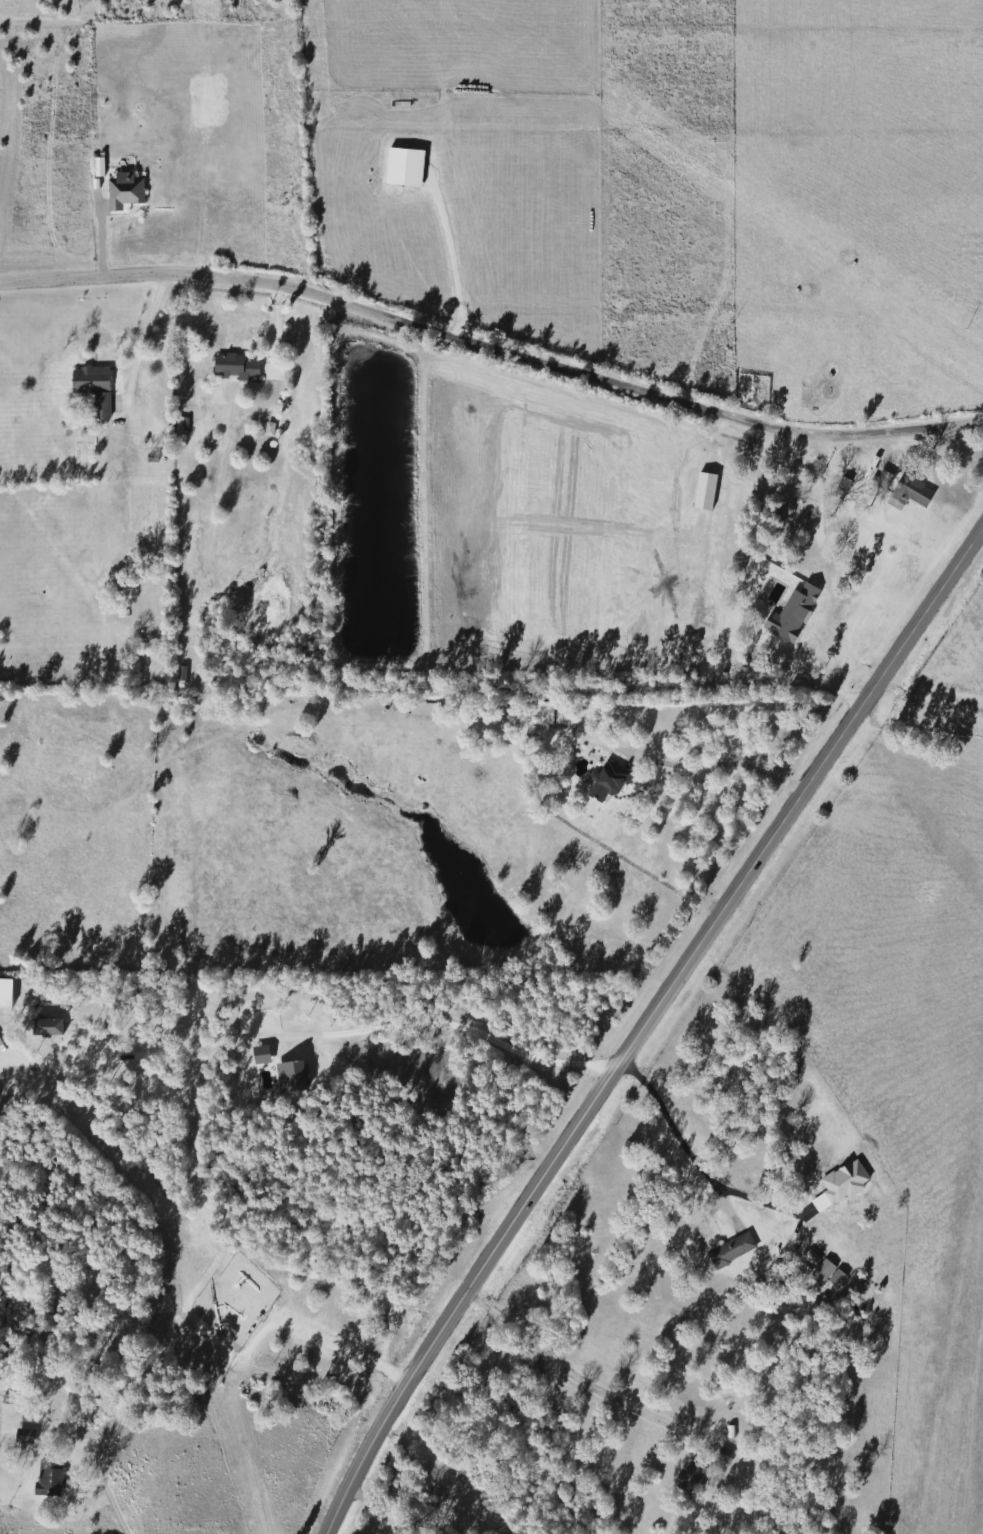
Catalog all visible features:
building: (127, 191)
road: (492, 348)
building: (235, 366)
building: (829, 370)
building: (95, 389)
building: (919, 494)
building: (797, 512)
building: (180, 675)
building: (540, 713)
road: (732, 763)
building: (607, 783)
road: (644, 1021)
road: (358, 1024)
building: (731, 1250)
building: (25, 1436)
building: (724, 1455)
building: (50, 1478)
building: (688, 1480)

